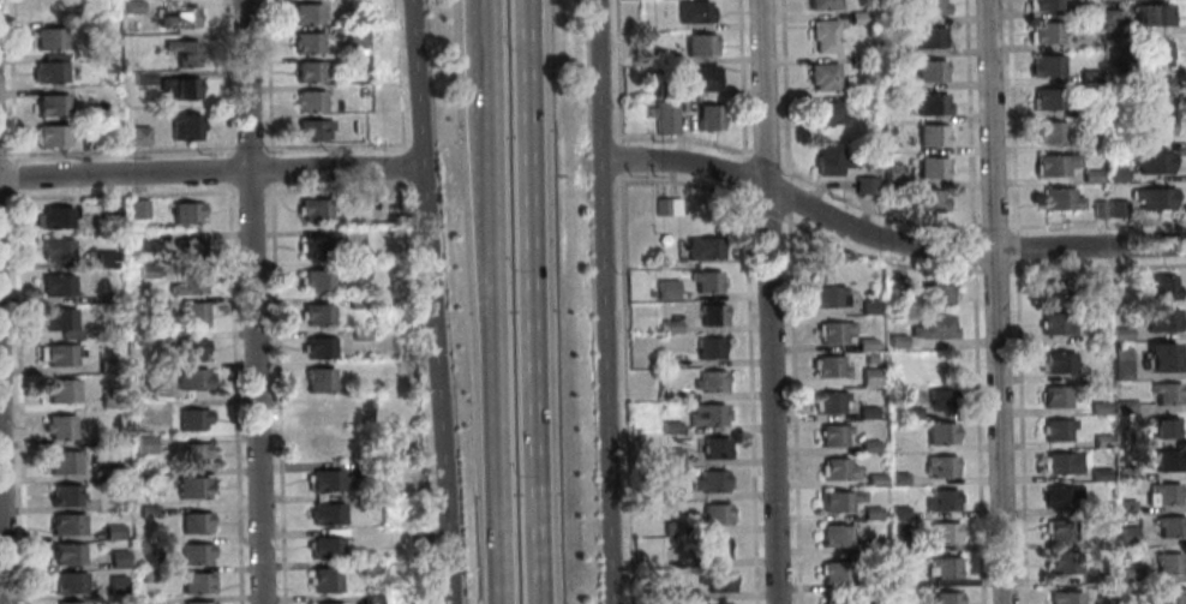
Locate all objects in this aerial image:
building: (822, 4)
building: (1048, 4)
building: (131, 6)
building: (47, 7)
building: (929, 7)
building: (1085, 7)
building: (693, 12)
building: (305, 13)
building: (1154, 13)
building: (175, 16)
building: (856, 18)
building: (1114, 22)
road: (489, 25)
building: (1049, 31)
building: (822, 35)
building: (927, 36)
building: (48, 38)
building: (353, 42)
building: (306, 43)
building: (697, 43)
building: (181, 52)
building: (1157, 52)
building: (664, 56)
building: (858, 61)
building: (1048, 65)
building: (1116, 66)
building: (108, 68)
building: (47, 71)
building: (307, 71)
road: (616, 71)
building: (929, 71)
road: (396, 74)
building: (821, 76)
building: (1091, 76)
building: (701, 77)
building: (142, 78)
road: (265, 78)
road: (223, 79)
road: (739, 79)
road: (10, 80)
road: (417, 82)
building: (178, 86)
building: (1157, 89)
building: (665, 90)
road: (784, 90)
building: (858, 98)
building: (1050, 98)
building: (307, 100)
building: (49, 103)
building: (930, 103)
building: (1115, 103)
building: (1091, 108)
building: (823, 113)
building: (664, 116)
building: (707, 116)
road: (968, 116)
road: (1011, 116)
building: (181, 126)
building: (1158, 126)
building: (310, 128)
building: (885, 131)
building: (1052, 131)
building: (49, 134)
building: (137, 134)
building: (930, 136)
road: (684, 139)
building: (1095, 139)
road: (330, 144)
road: (246, 148)
road: (119, 150)
road: (1, 154)
road: (618, 159)
building: (827, 159)
road: (763, 160)
building: (1154, 161)
building: (1058, 162)
road: (402, 163)
building: (932, 168)
road: (226, 169)
road: (269, 169)
road: (211, 172)
building: (892, 172)
road: (742, 174)
building: (1119, 174)
road: (12, 175)
building: (1092, 175)
road: (685, 184)
building: (863, 185)
road: (337, 189)
road: (247, 191)
building: (888, 193)
road: (120, 195)
road: (786, 196)
building: (1155, 197)
road: (2, 198)
building: (1060, 198)
building: (926, 199)
building: (669, 205)
building: (110, 207)
building: (136, 208)
building: (1100, 208)
building: (1119, 208)
building: (312, 209)
road: (766, 209)
building: (186, 211)
road: (874, 213)
building: (53, 217)
road: (1097, 223)
road: (995, 226)
road: (885, 240)
building: (143, 241)
building: (313, 246)
building: (187, 247)
building: (705, 247)
road: (971, 247)
road: (1014, 247)
building: (55, 249)
building: (103, 258)
road: (876, 258)
road: (1096, 267)
building: (355, 269)
building: (144, 270)
road: (993, 270)
building: (316, 280)
building: (708, 281)
building: (188, 282)
building: (56, 285)
building: (1098, 286)
building: (1162, 287)
building: (667, 288)
building: (924, 291)
building: (1049, 291)
building: (826, 295)
road: (252, 301)
building: (357, 301)
road: (537, 301)
road: (603, 301)
road: (767, 301)
road: (995, 301)
building: (154, 303)
building: (868, 306)
building: (316, 313)
building: (190, 315)
building: (713, 315)
building: (1158, 319)
building: (59, 322)
building: (1053, 323)
building: (930, 325)
road: (496, 327)
building: (832, 330)
building: (358, 334)
building: (1119, 334)
building: (143, 337)
building: (894, 341)
building: (863, 343)
building: (317, 347)
building: (188, 348)
building: (712, 348)
building: (58, 354)
building: (1160, 357)
building: (867, 358)
building: (1056, 361)
building: (1120, 363)
building: (106, 365)
building: (828, 366)
building: (868, 376)
building: (190, 378)
building: (317, 379)
building: (712, 381)
road: (437, 383)
road: (627, 388)
building: (60, 391)
road: (232, 393)
road: (275, 393)
building: (1164, 393)
road: (417, 395)
road: (18, 396)
road: (749, 396)
building: (1054, 396)
building: (109, 397)
building: (315, 399)
building: (940, 399)
building: (827, 401)
road: (792, 407)
building: (1097, 407)
building: (1130, 407)
building: (865, 412)
building: (909, 412)
building: (322, 414)
building: (708, 414)
building: (190, 418)
building: (58, 426)
building: (1160, 426)
building: (1055, 429)
road: (1019, 431)
building: (938, 432)
road: (976, 432)
building: (831, 435)
building: (108, 437)
building: (1130, 438)
building: (1100, 441)
building: (143, 444)
building: (322, 445)
building: (867, 445)
building: (717, 447)
building: (193, 453)
building: (1164, 460)
building: (62, 461)
building: (1062, 462)
building: (941, 465)
building: (360, 468)
building: (834, 468)
building: (110, 472)
building: (1124, 473)
building: (1097, 474)
building: (896, 478)
building: (711, 479)
building: (873, 479)
building: (324, 480)
building: (190, 486)
building: (65, 495)
building: (1059, 495)
building: (1161, 495)
building: (837, 500)
building: (940, 500)
building: (361, 501)
building: (1122, 506)
building: (145, 510)
building: (324, 513)
building: (719, 513)
building: (869, 513)
building: (897, 513)
building: (192, 522)
building: (66, 524)
building: (1168, 526)
building: (1059, 530)
building: (113, 531)
building: (412, 533)
building: (939, 533)
building: (831, 536)
building: (1125, 536)
road: (1, 538)
building: (148, 545)
building: (898, 545)
building: (324, 546)
building: (719, 546)
building: (867, 546)
building: (66, 552)
building: (193, 552)
building: (118, 558)
building: (1061, 562)
building: (1167, 563)
building: (941, 567)
building: (364, 568)
building: (833, 572)
building: (1127, 574)
building: (149, 575)
building: (322, 579)
building: (720, 580)
building: (67, 581)
building: (899, 581)
building: (196, 582)
building: (115, 584)
building: (1168, 596)
building: (944, 597)
building: (1064, 597)
building: (367, 598)
building: (834, 600)
building: (197, 602)
building: (70, 603)
building: (327, 603)

